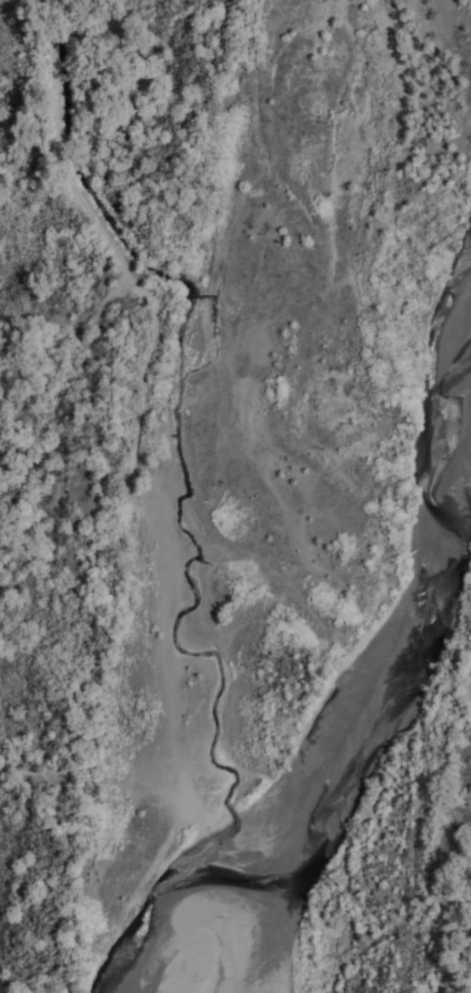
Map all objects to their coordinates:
river: (345, 731)

